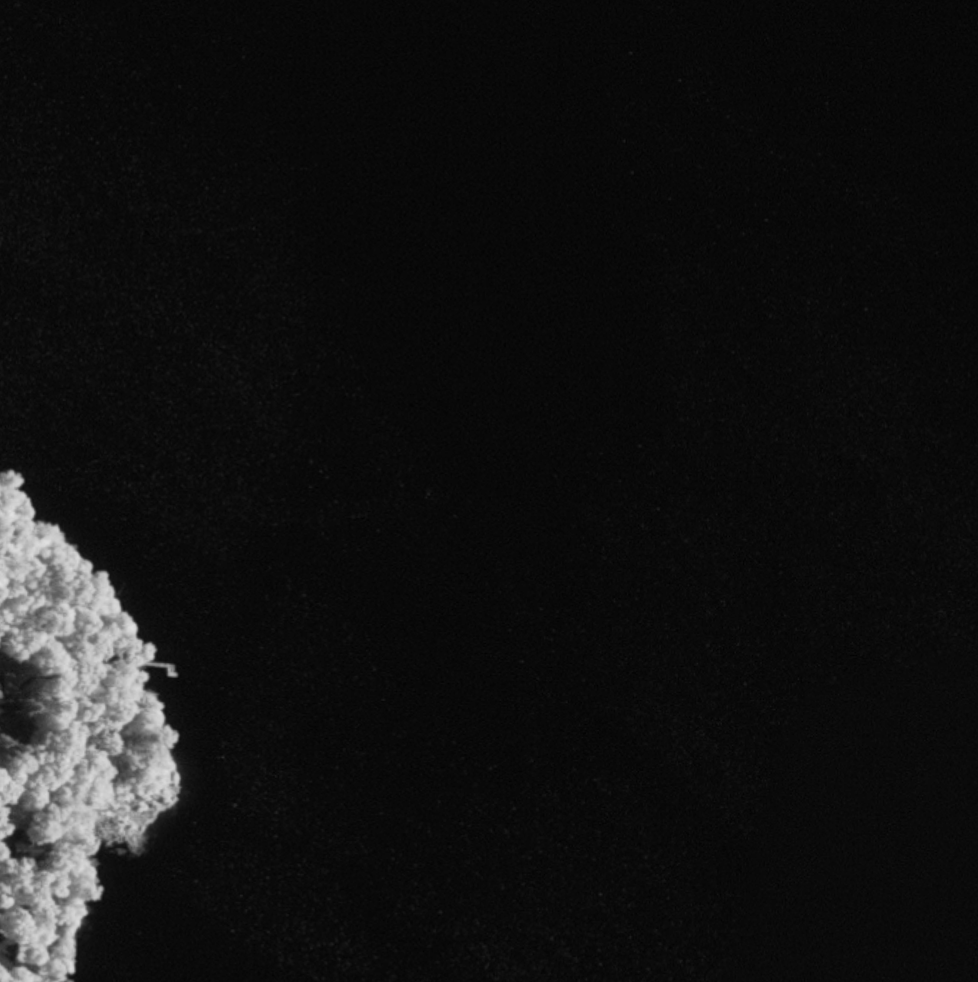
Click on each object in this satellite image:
building: (1, 699)
building: (22, 843)
building: (7, 952)

